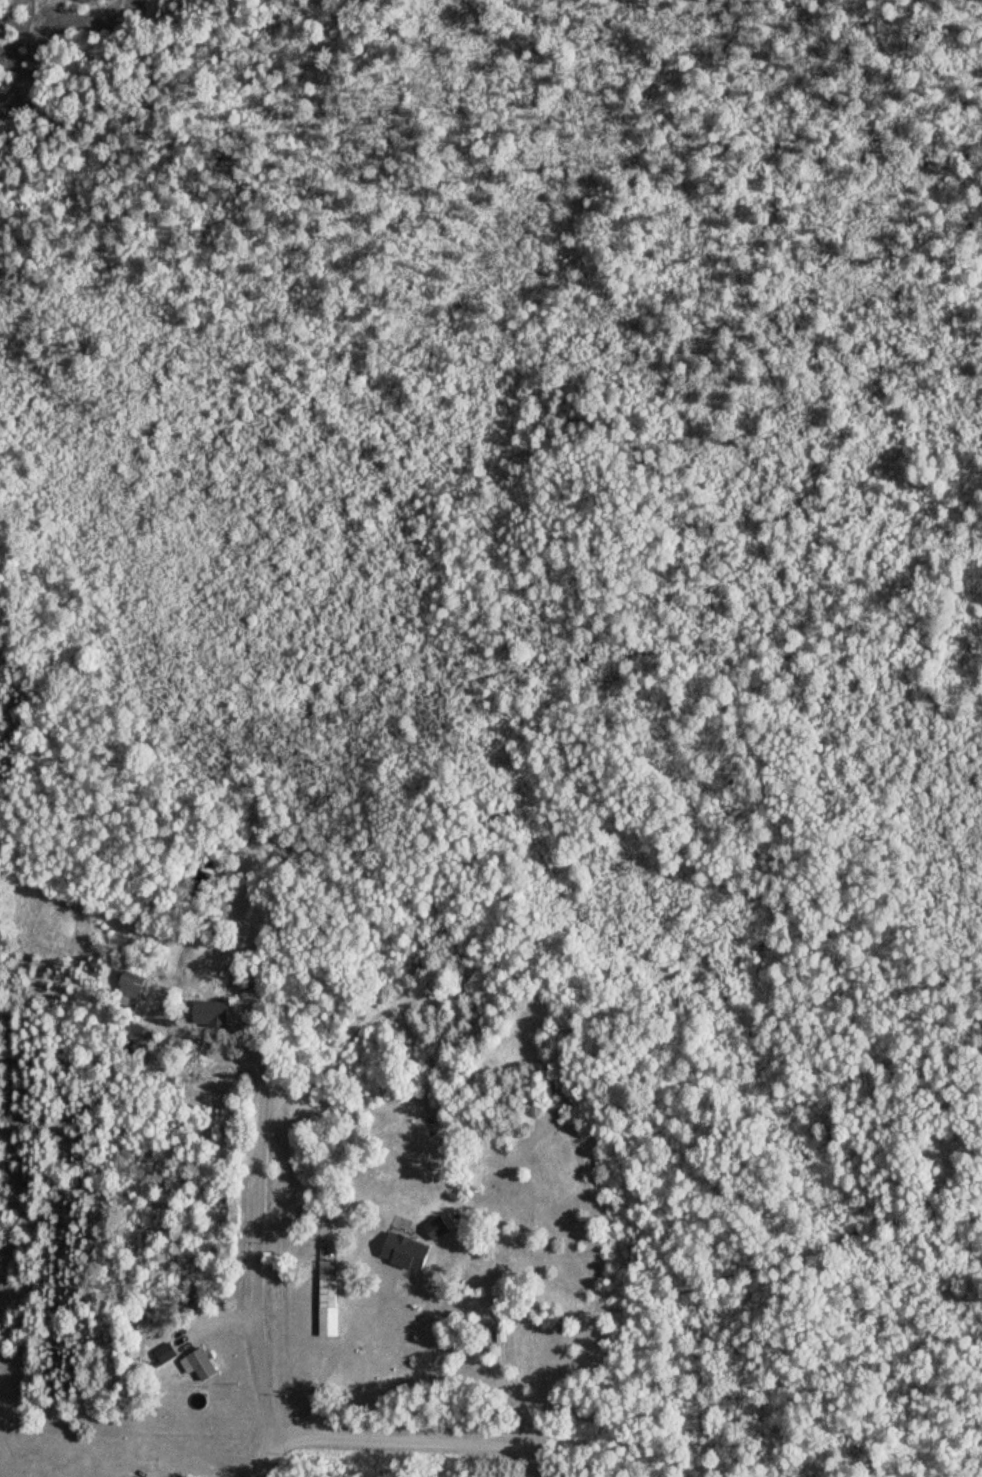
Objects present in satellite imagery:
building: (133, 984)
building: (438, 1227)
road: (248, 1230)
building: (407, 1251)
building: (329, 1299)
building: (166, 1352)
building: (200, 1363)
road: (411, 1439)
road: (264, 1462)

